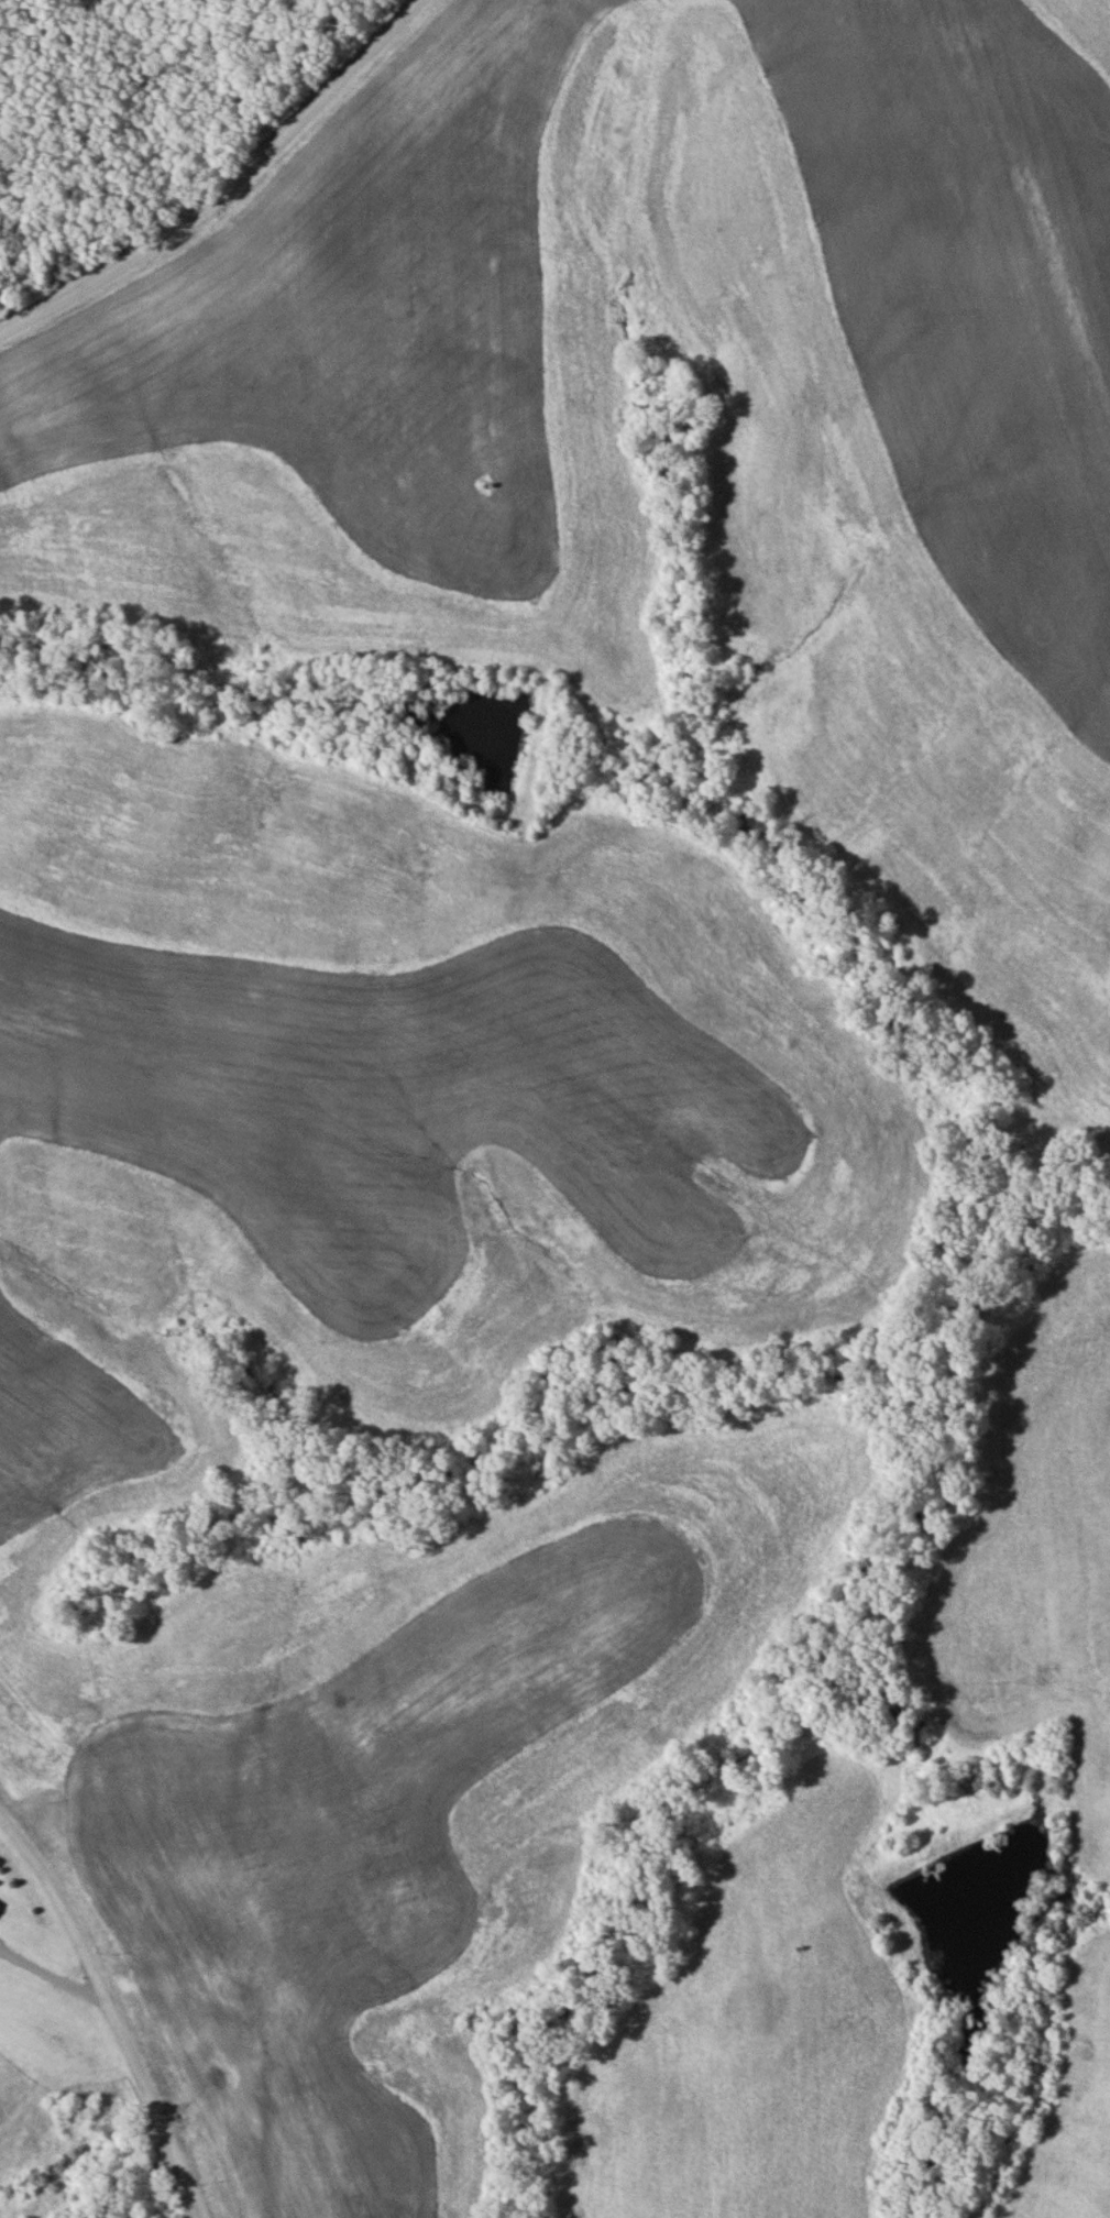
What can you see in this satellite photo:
road: (226, 187)
building: (12, 1918)
road: (112, 2011)

